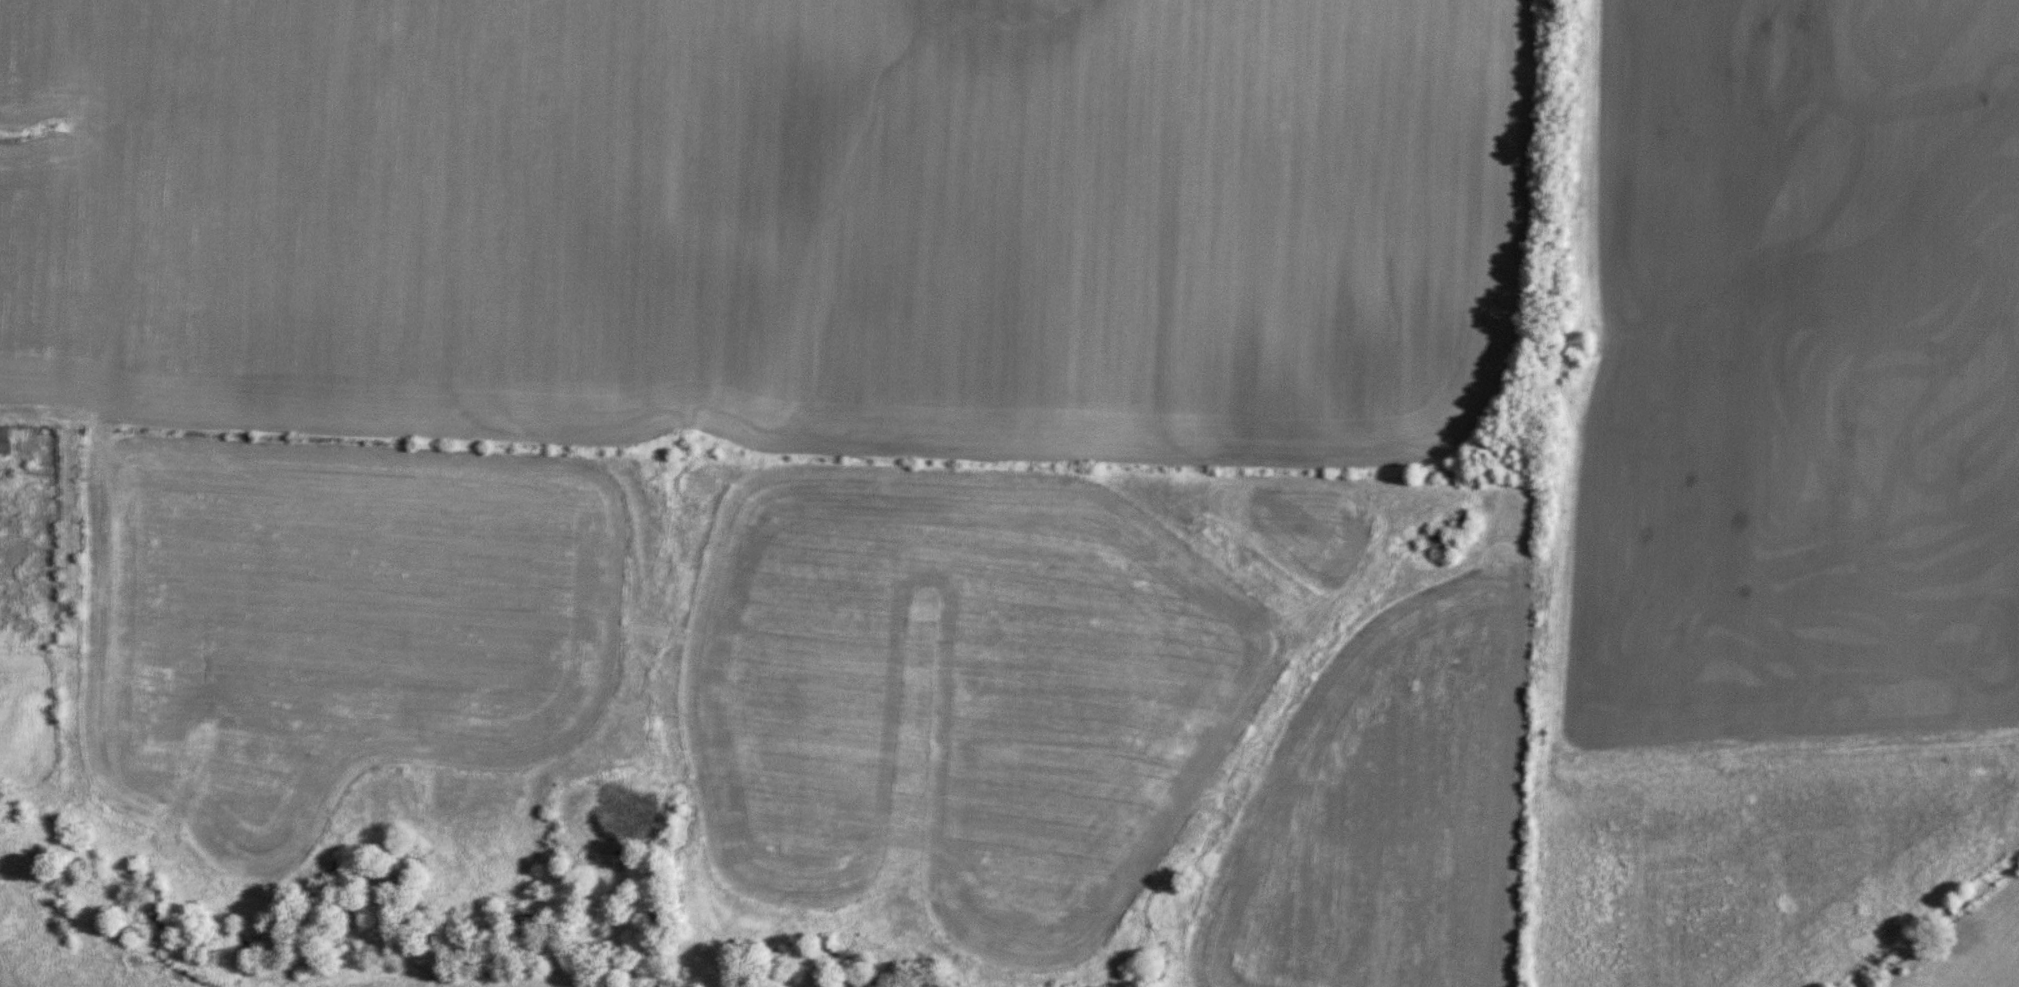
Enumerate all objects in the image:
road: (46, 417)
building: (5, 438)
road: (65, 523)

